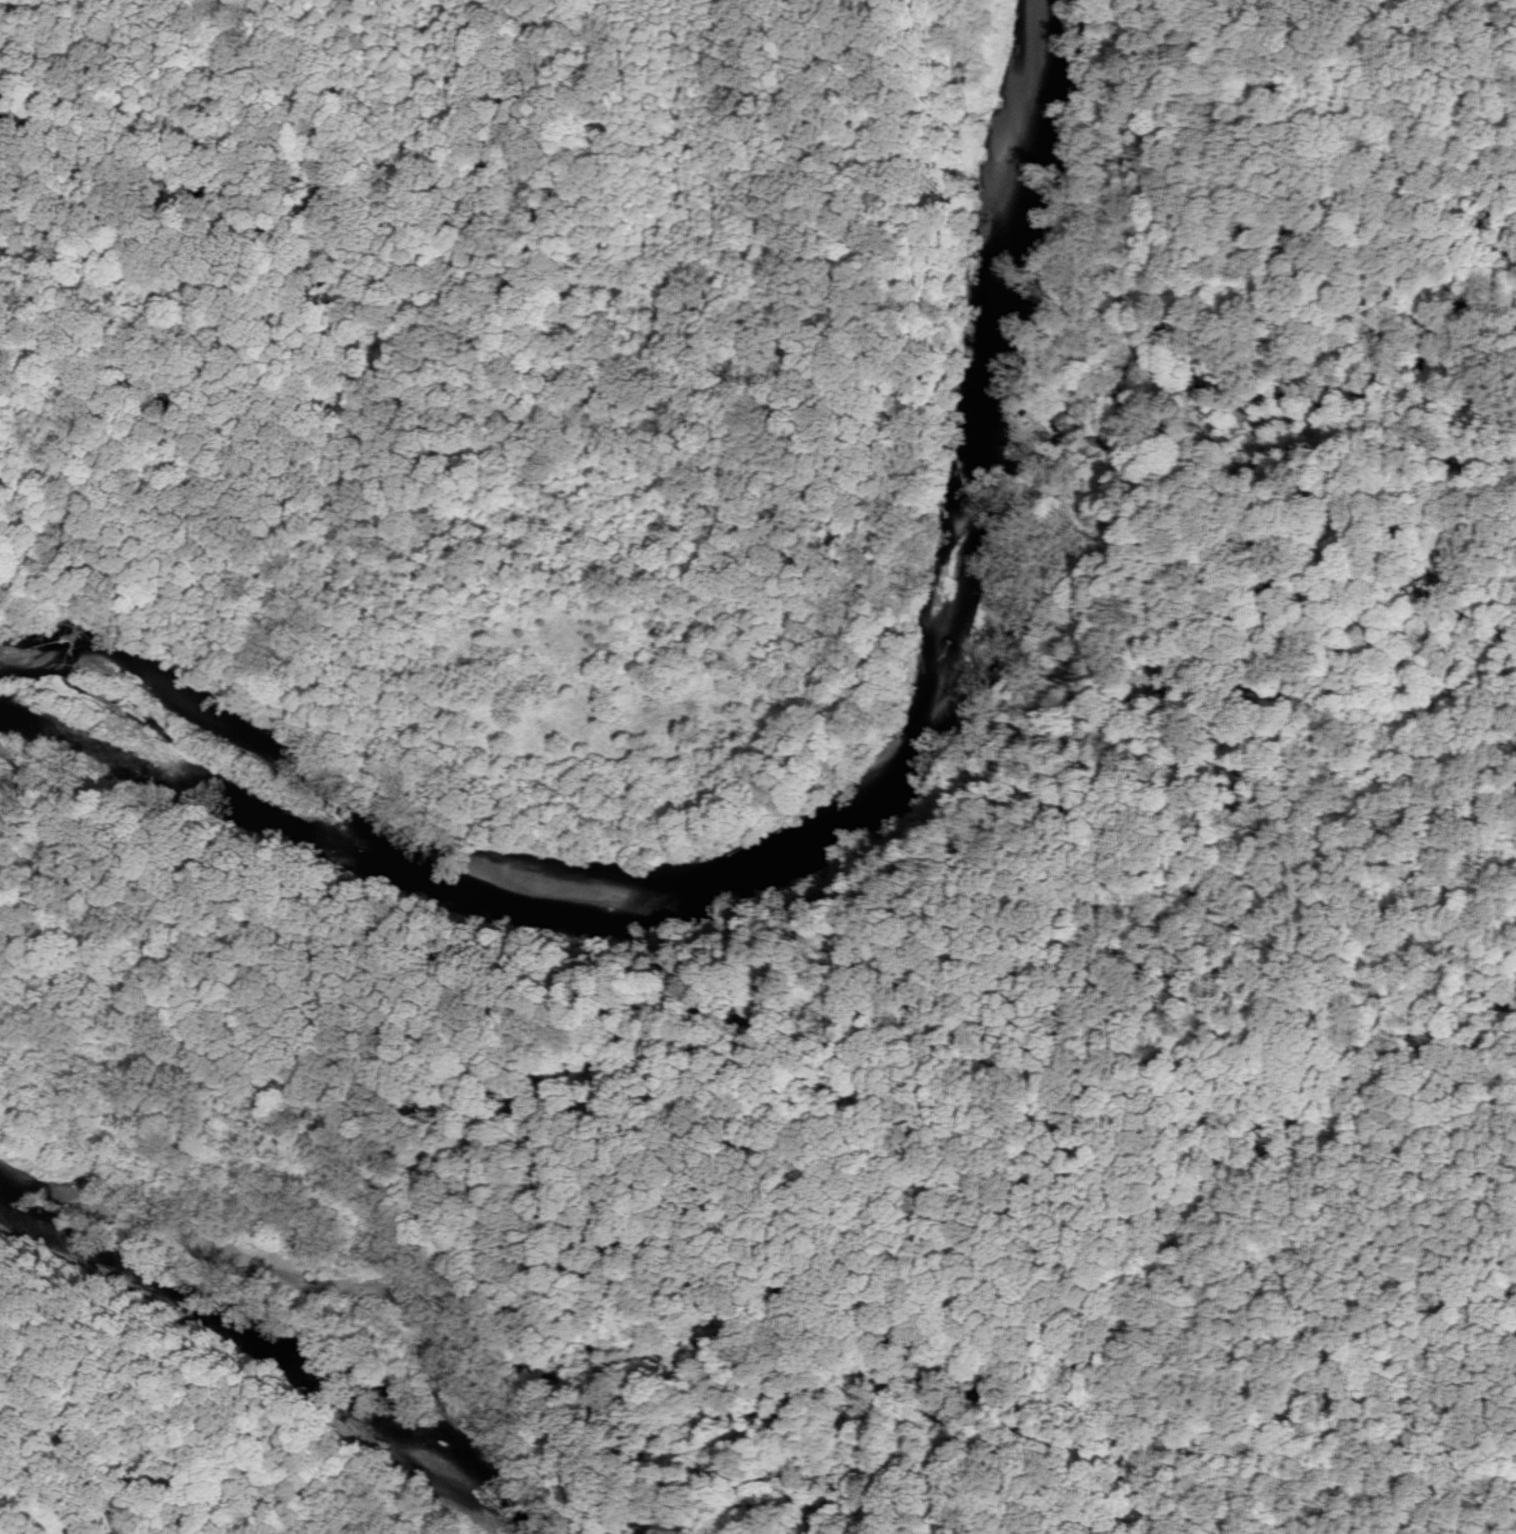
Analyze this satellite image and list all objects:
river: (833, 838)
river: (320, 1284)
road: (63, 1452)

